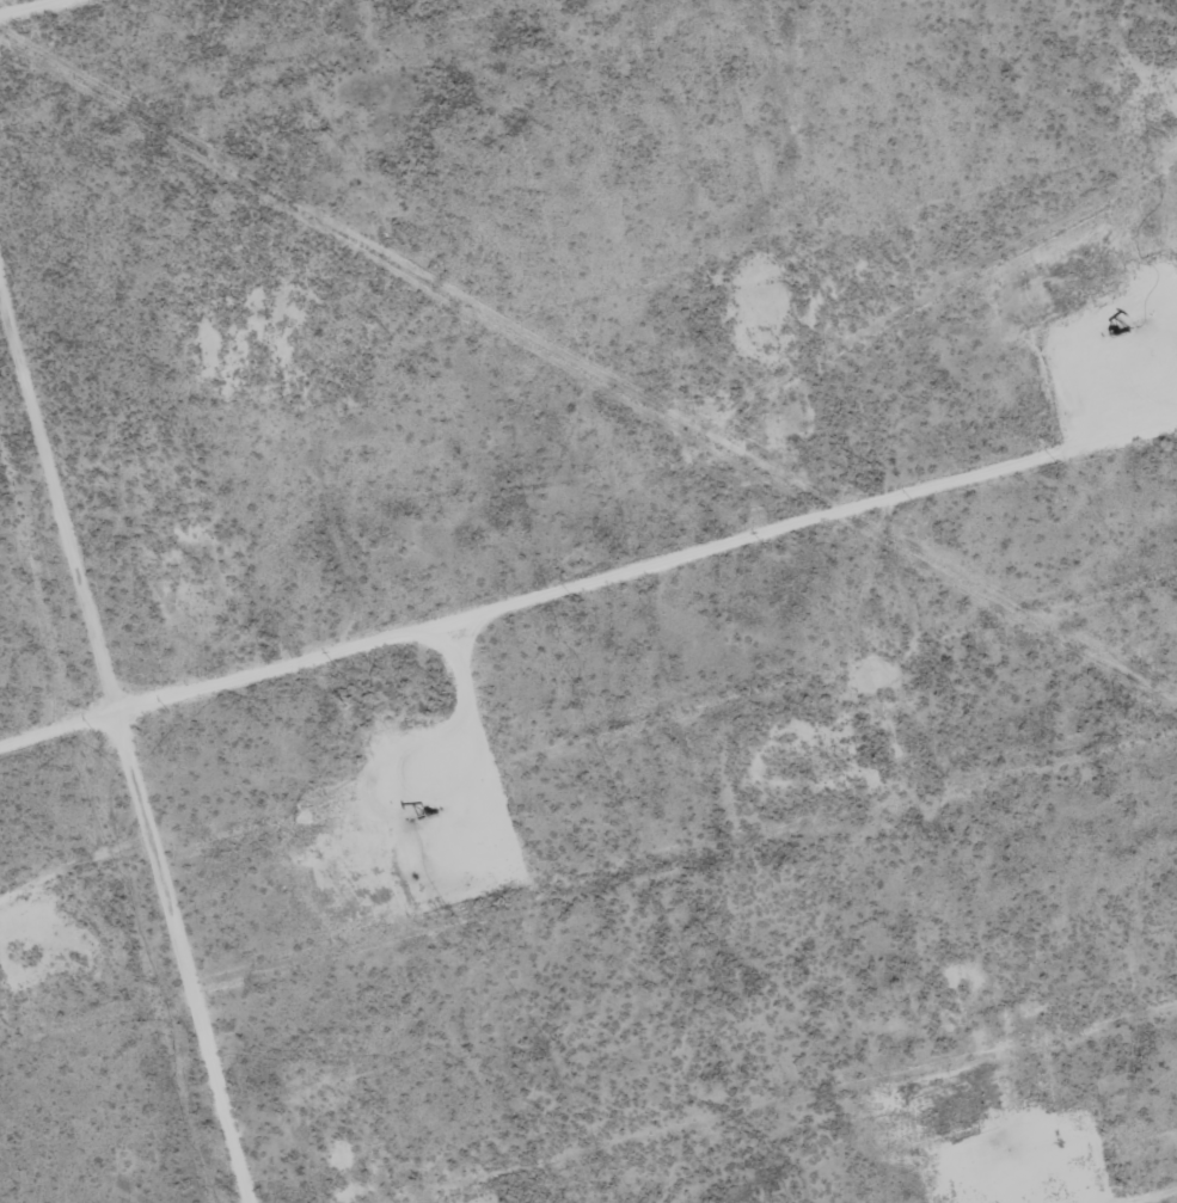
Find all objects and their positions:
road: (131, 36)
road: (613, 621)
road: (91, 903)

